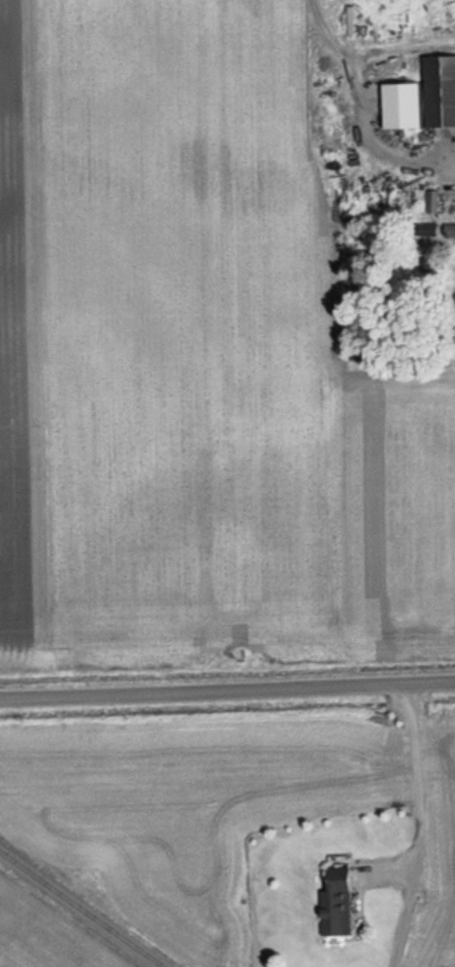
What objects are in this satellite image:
building: (436, 91)
building: (395, 105)
building: (417, 229)
building: (454, 269)
road: (227, 692)
building: (331, 901)
railway: (82, 909)

